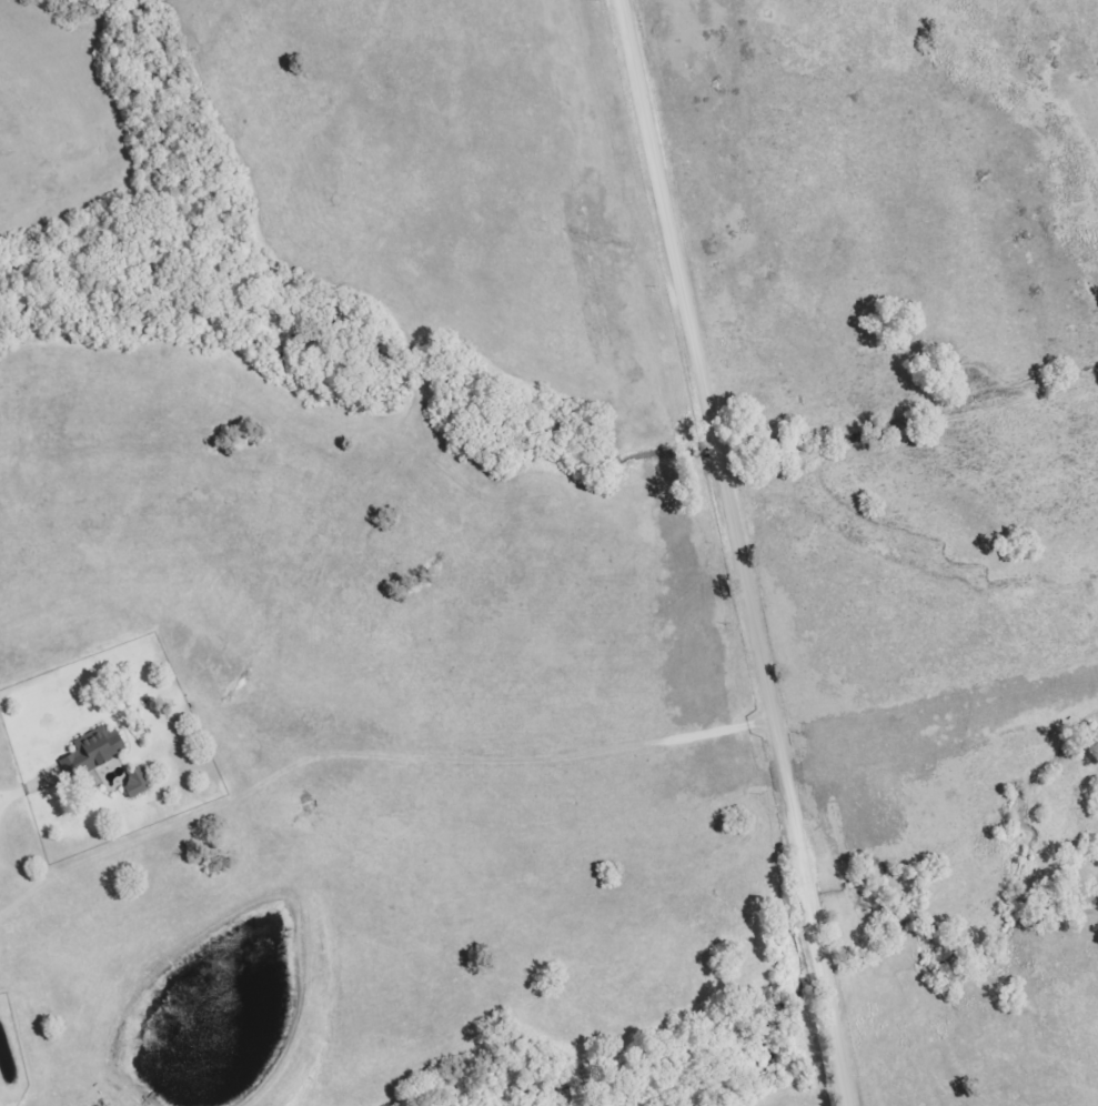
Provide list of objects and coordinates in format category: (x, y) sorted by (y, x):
road: (743, 551)
building: (93, 750)
building: (135, 783)

